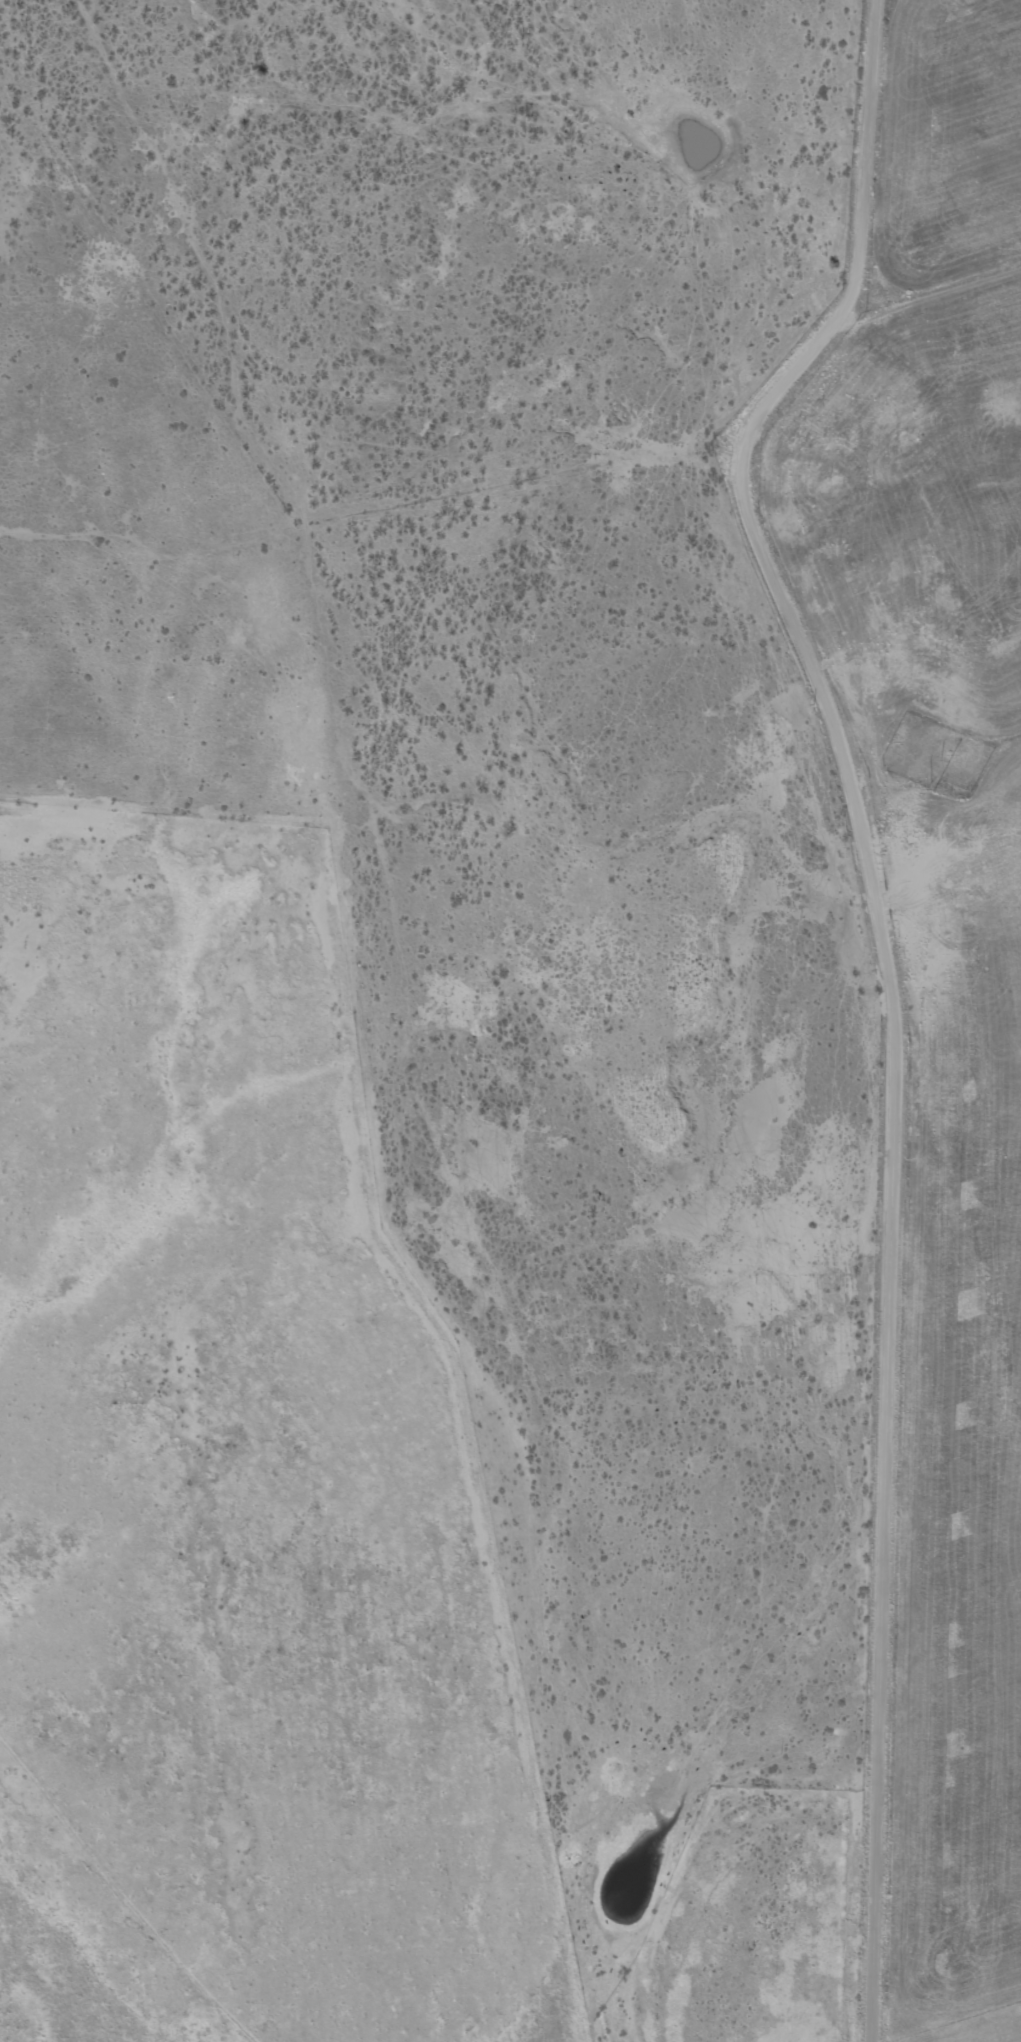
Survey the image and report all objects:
road: (893, 991)

